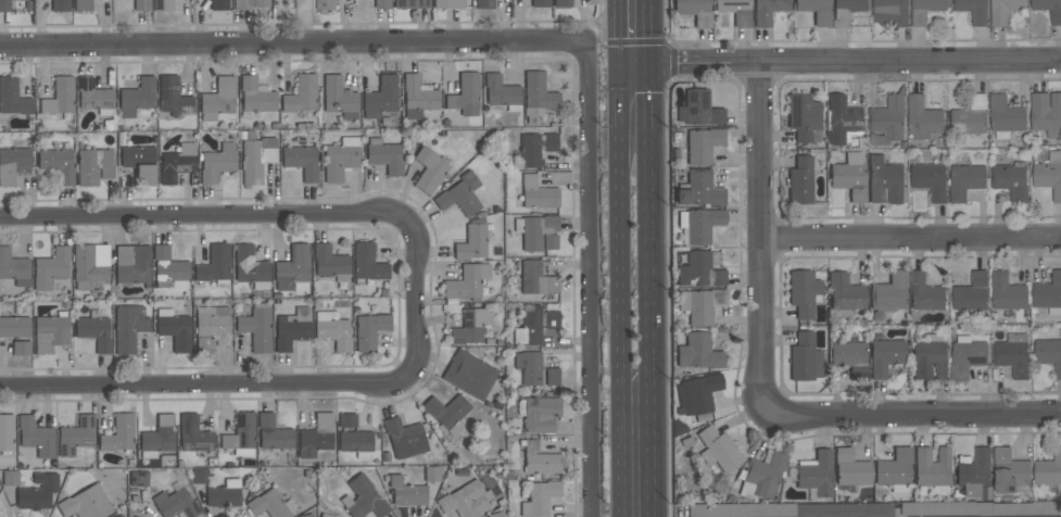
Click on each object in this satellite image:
building: (25, 0)
building: (382, 3)
building: (484, 3)
building: (540, 3)
building: (563, 3)
building: (141, 4)
building: (218, 4)
building: (250, 4)
building: (301, 4)
building: (323, 4)
building: (410, 4)
building: (447, 4)
building: (60, 5)
building: (83, 5)
building: (163, 5)
building: (4, 7)
building: (814, 10)
building: (847, 10)
building: (925, 10)
building: (974, 10)
building: (1005, 10)
building: (694, 11)
building: (735, 11)
building: (767, 11)
building: (892, 11)
building: (1056, 17)
road: (615, 31)
road: (294, 45)
road: (837, 61)
traffic signals: (649, 63)
traffic signals: (616, 64)
building: (500, 91)
building: (301, 96)
building: (465, 96)
building: (60, 97)
building: (94, 97)
building: (137, 97)
building: (173, 97)
building: (255, 97)
building: (536, 97)
building: (13, 98)
building: (381, 98)
building: (417, 98)
building: (339, 99)
building: (217, 100)
building: (698, 110)
building: (1046, 111)
building: (971, 115)
building: (803, 116)
building: (1006, 116)
building: (843, 118)
building: (923, 118)
building: (887, 121)
building: (703, 146)
building: (534, 148)
building: (256, 159)
building: (340, 159)
building: (386, 159)
building: (177, 161)
building: (301, 162)
building: (217, 163)
building: (12, 164)
building: (58, 164)
building: (139, 164)
building: (93, 166)
building: (429, 171)
building: (1049, 174)
building: (849, 177)
building: (885, 180)
building: (931, 180)
building: (965, 180)
building: (1011, 180)
building: (800, 181)
building: (699, 190)
building: (538, 194)
building: (460, 196)
building: (698, 226)
building: (538, 232)
road: (759, 237)
road: (909, 239)
building: (471, 243)
road: (649, 257)
building: (330, 263)
building: (367, 263)
building: (131, 265)
building: (90, 266)
building: (215, 266)
building: (167, 267)
building: (250, 267)
building: (292, 267)
building: (14, 268)
building: (51, 268)
building: (699, 272)
building: (536, 279)
road: (590, 280)
building: (467, 282)
road: (616, 290)
building: (1008, 291)
building: (925, 292)
building: (972, 292)
building: (804, 293)
building: (845, 293)
building: (1048, 293)
building: (888, 294)
road: (417, 304)
building: (700, 305)
building: (552, 319)
building: (210, 326)
building: (15, 327)
building: (470, 327)
building: (529, 327)
building: (128, 328)
building: (256, 328)
building: (174, 329)
building: (291, 329)
building: (94, 331)
building: (332, 331)
building: (369, 331)
building: (50, 333)
building: (21, 349)
building: (698, 352)
building: (1049, 353)
building: (1013, 354)
building: (968, 355)
building: (885, 356)
building: (849, 357)
building: (931, 357)
building: (804, 358)
building: (529, 367)
building: (469, 375)
building: (552, 377)
building: (697, 394)
building: (446, 413)
building: (539, 414)
road: (913, 414)
building: (346, 420)
building: (7, 433)
building: (273, 433)
building: (118, 434)
building: (193, 434)
building: (76, 436)
building: (241, 436)
building: (35, 437)
building: (316, 437)
building: (157, 438)
building: (404, 439)
building: (356, 443)
building: (717, 450)
building: (540, 461)
building: (931, 467)
building: (850, 469)
building: (895, 470)
building: (1010, 470)
building: (1049, 470)
building: (974, 471)
building: (431, 474)
building: (199, 476)
building: (762, 476)
building: (816, 476)
building: (10, 478)
building: (138, 479)
building: (37, 492)
building: (405, 492)
building: (224, 494)
building: (363, 499)
building: (539, 499)
building: (465, 501)
building: (175, 503)
building: (86, 504)
building: (270, 505)
building: (1022, 507)
building: (925, 508)
building: (742, 510)
building: (844, 510)
building: (496, 515)
building: (119, 516)
building: (134, 516)
building: (306, 516)
building: (326, 516)

